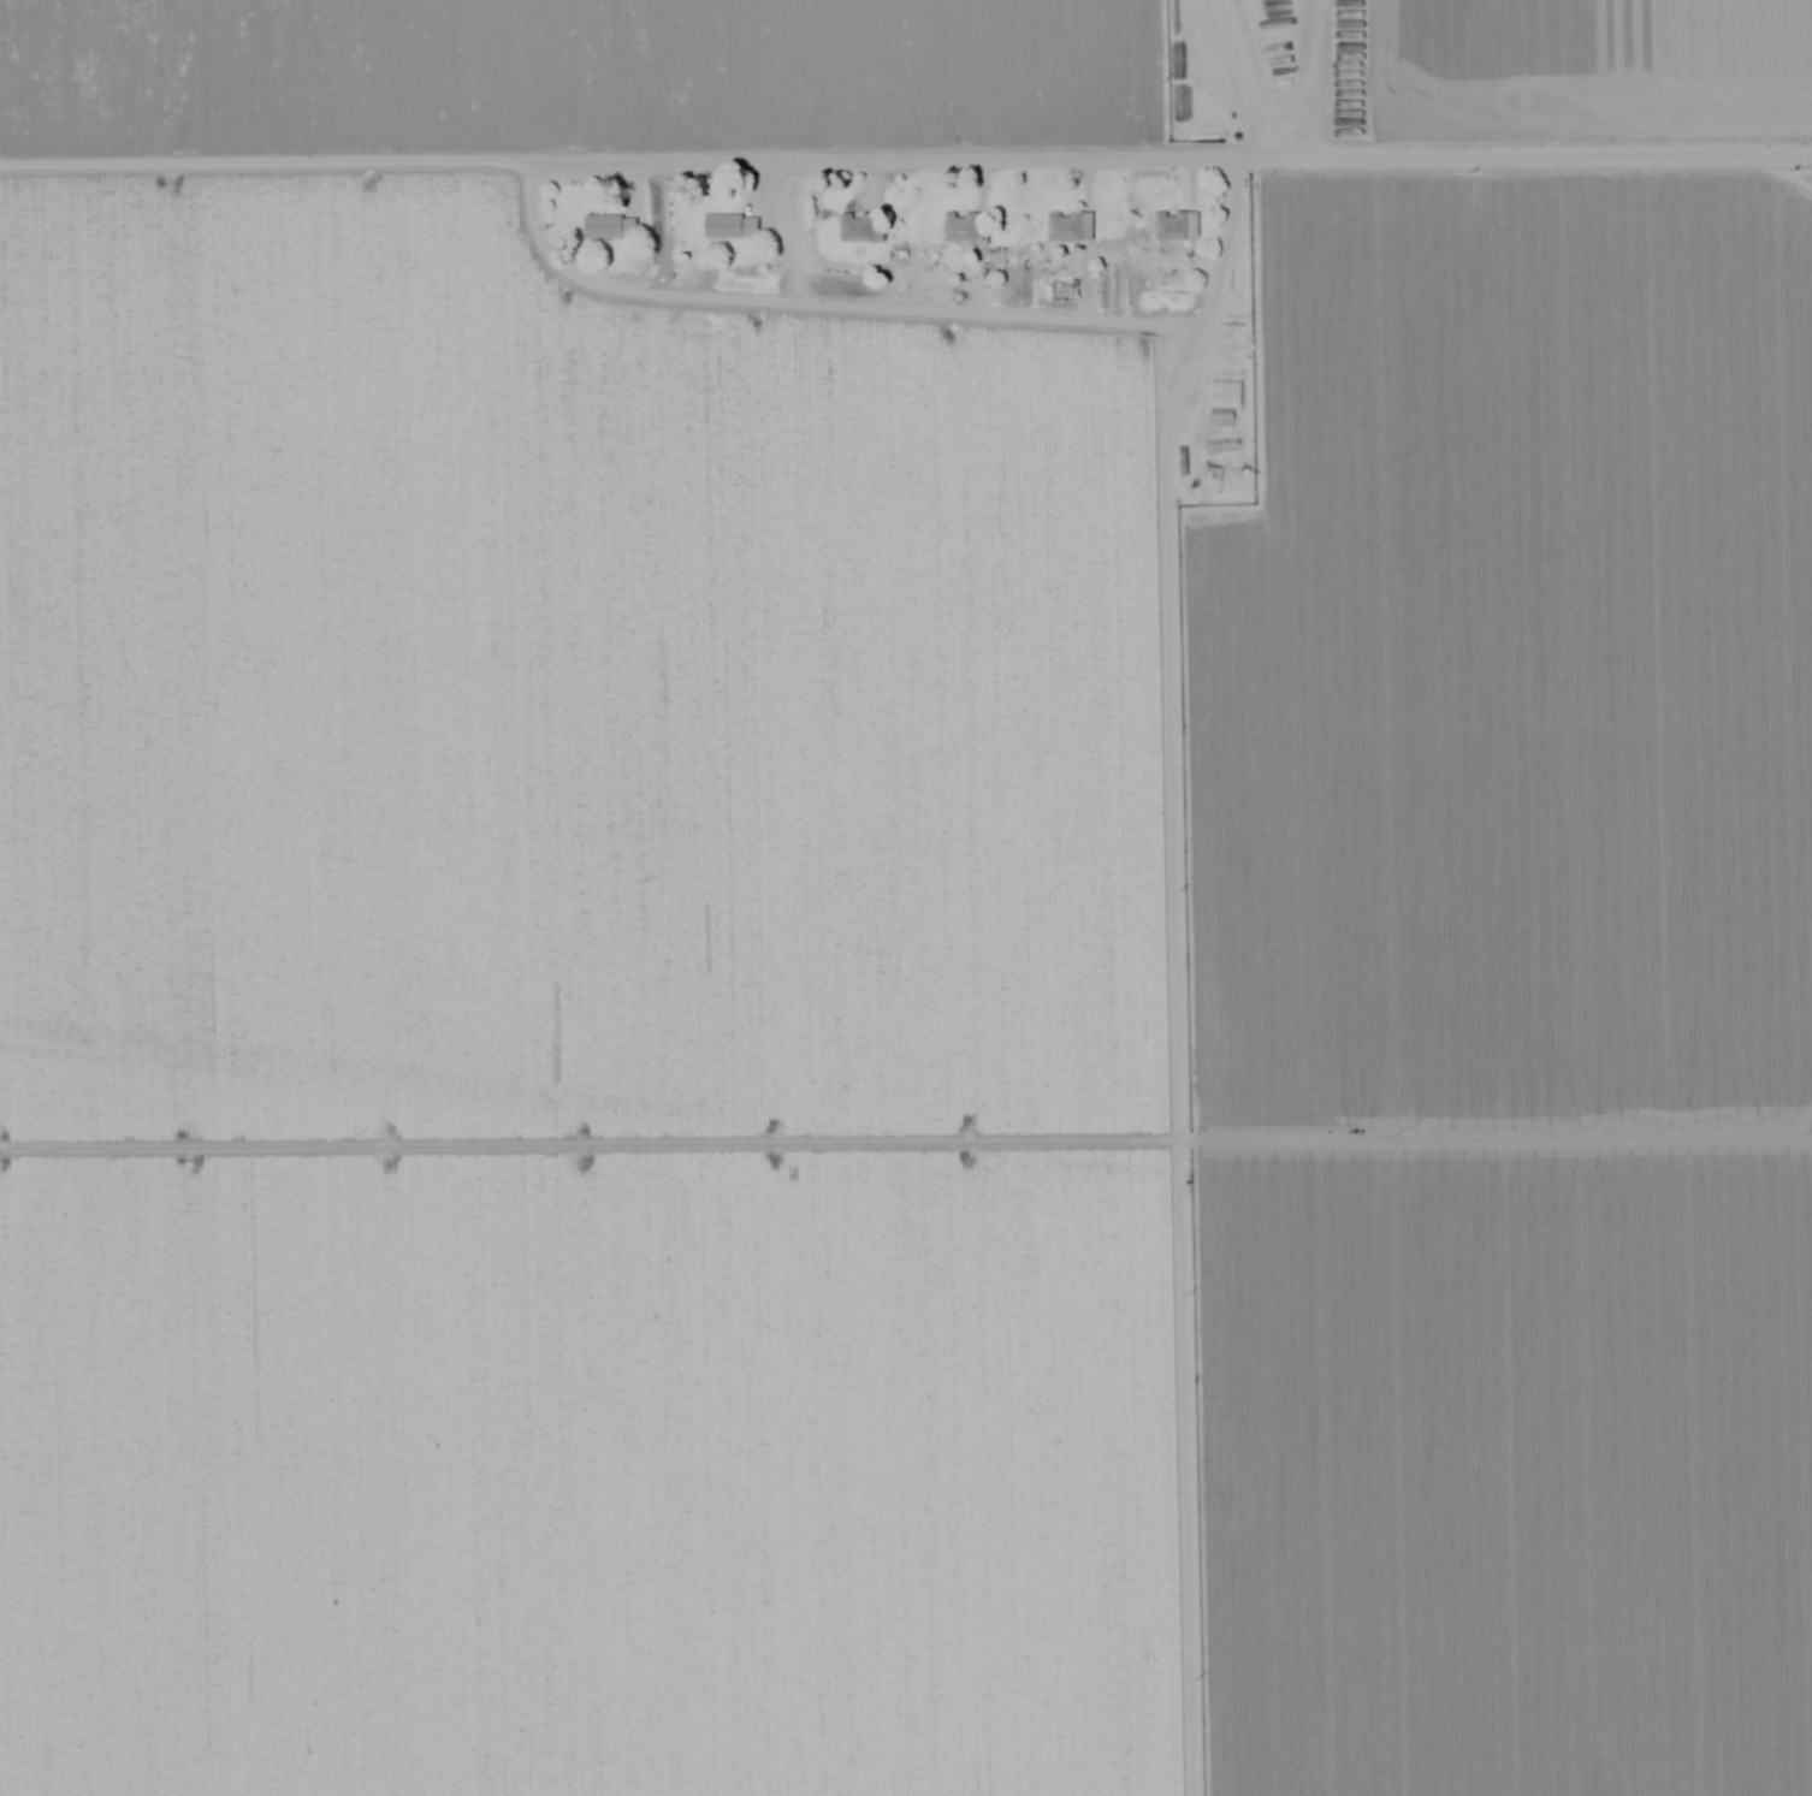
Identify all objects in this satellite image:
road: (1301, 45)
road: (1240, 58)
crop: (893, 65)
road: (1281, 121)
road: (906, 160)
building: (726, 224)
building: (604, 225)
building: (853, 225)
building: (954, 225)
building: (1060, 225)
road: (901, 306)
crop: (905, 992)

